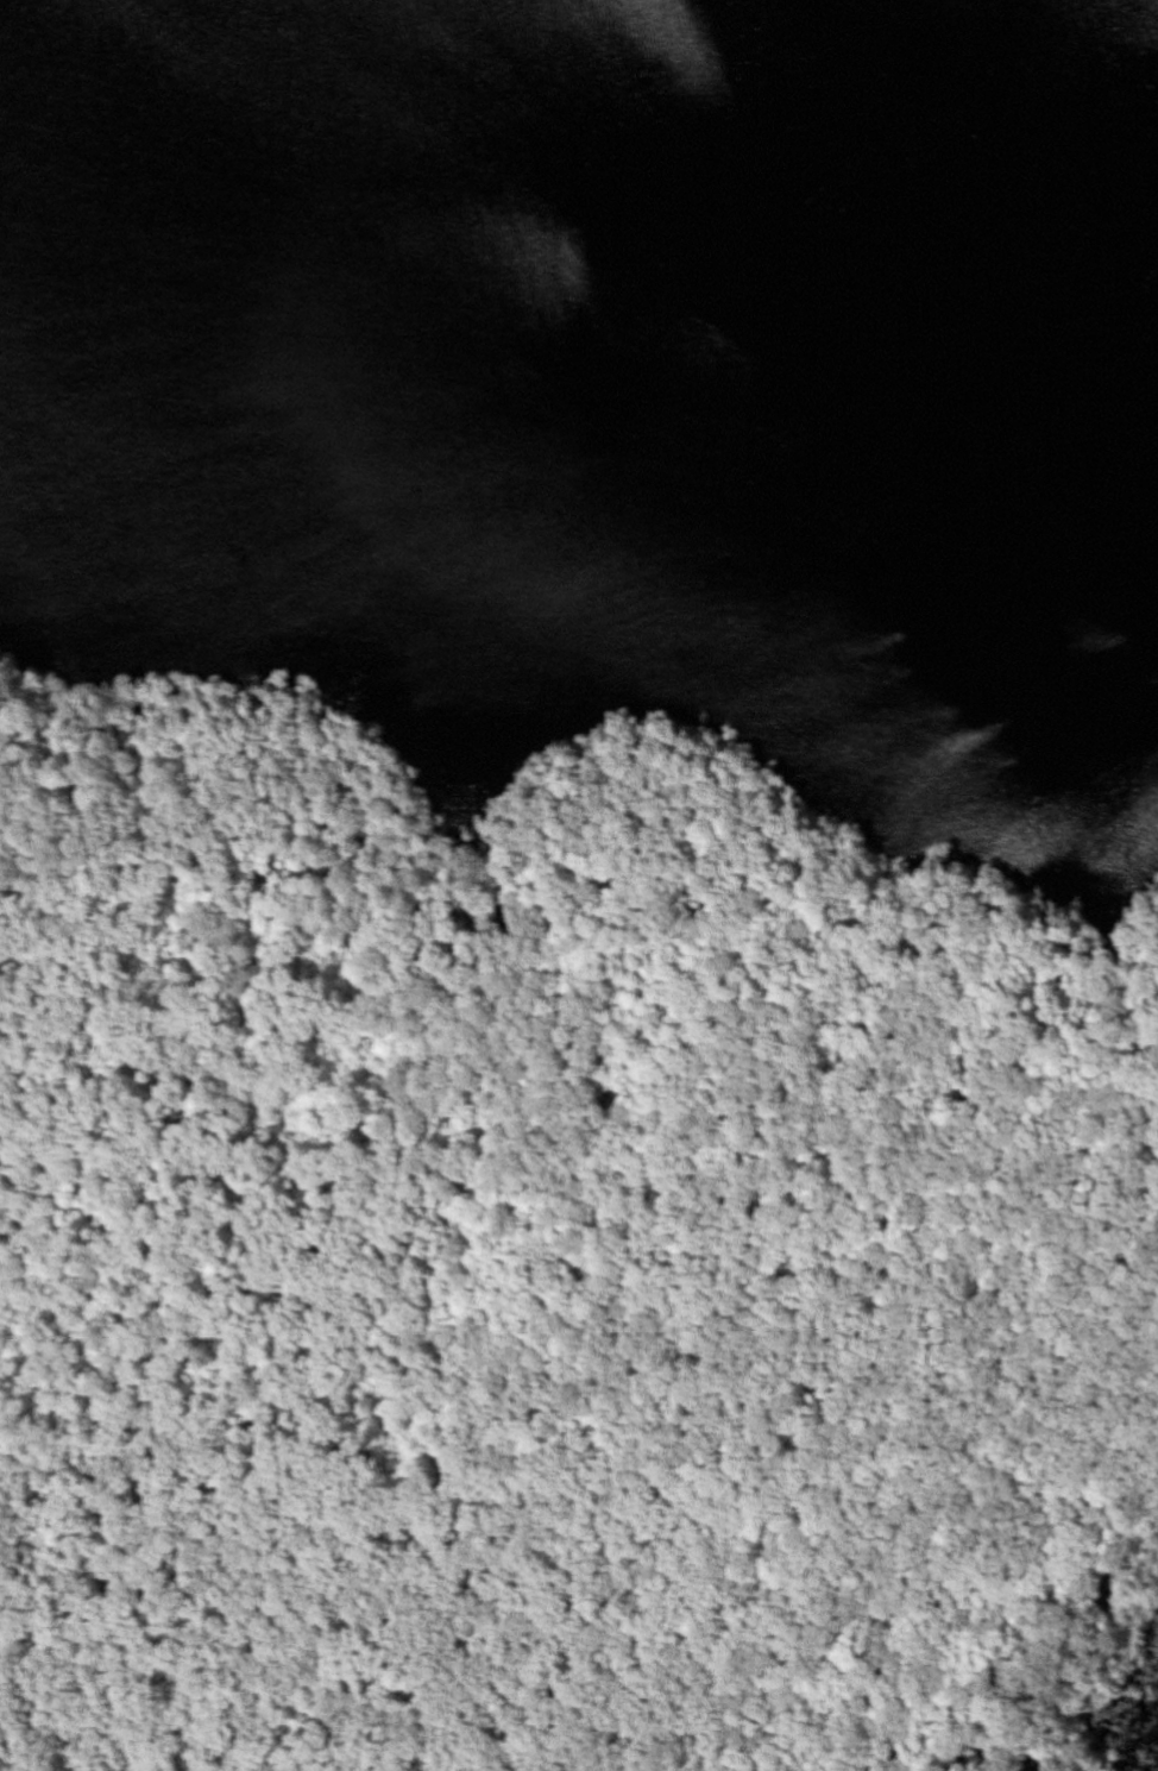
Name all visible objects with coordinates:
road: (581, 1250)

